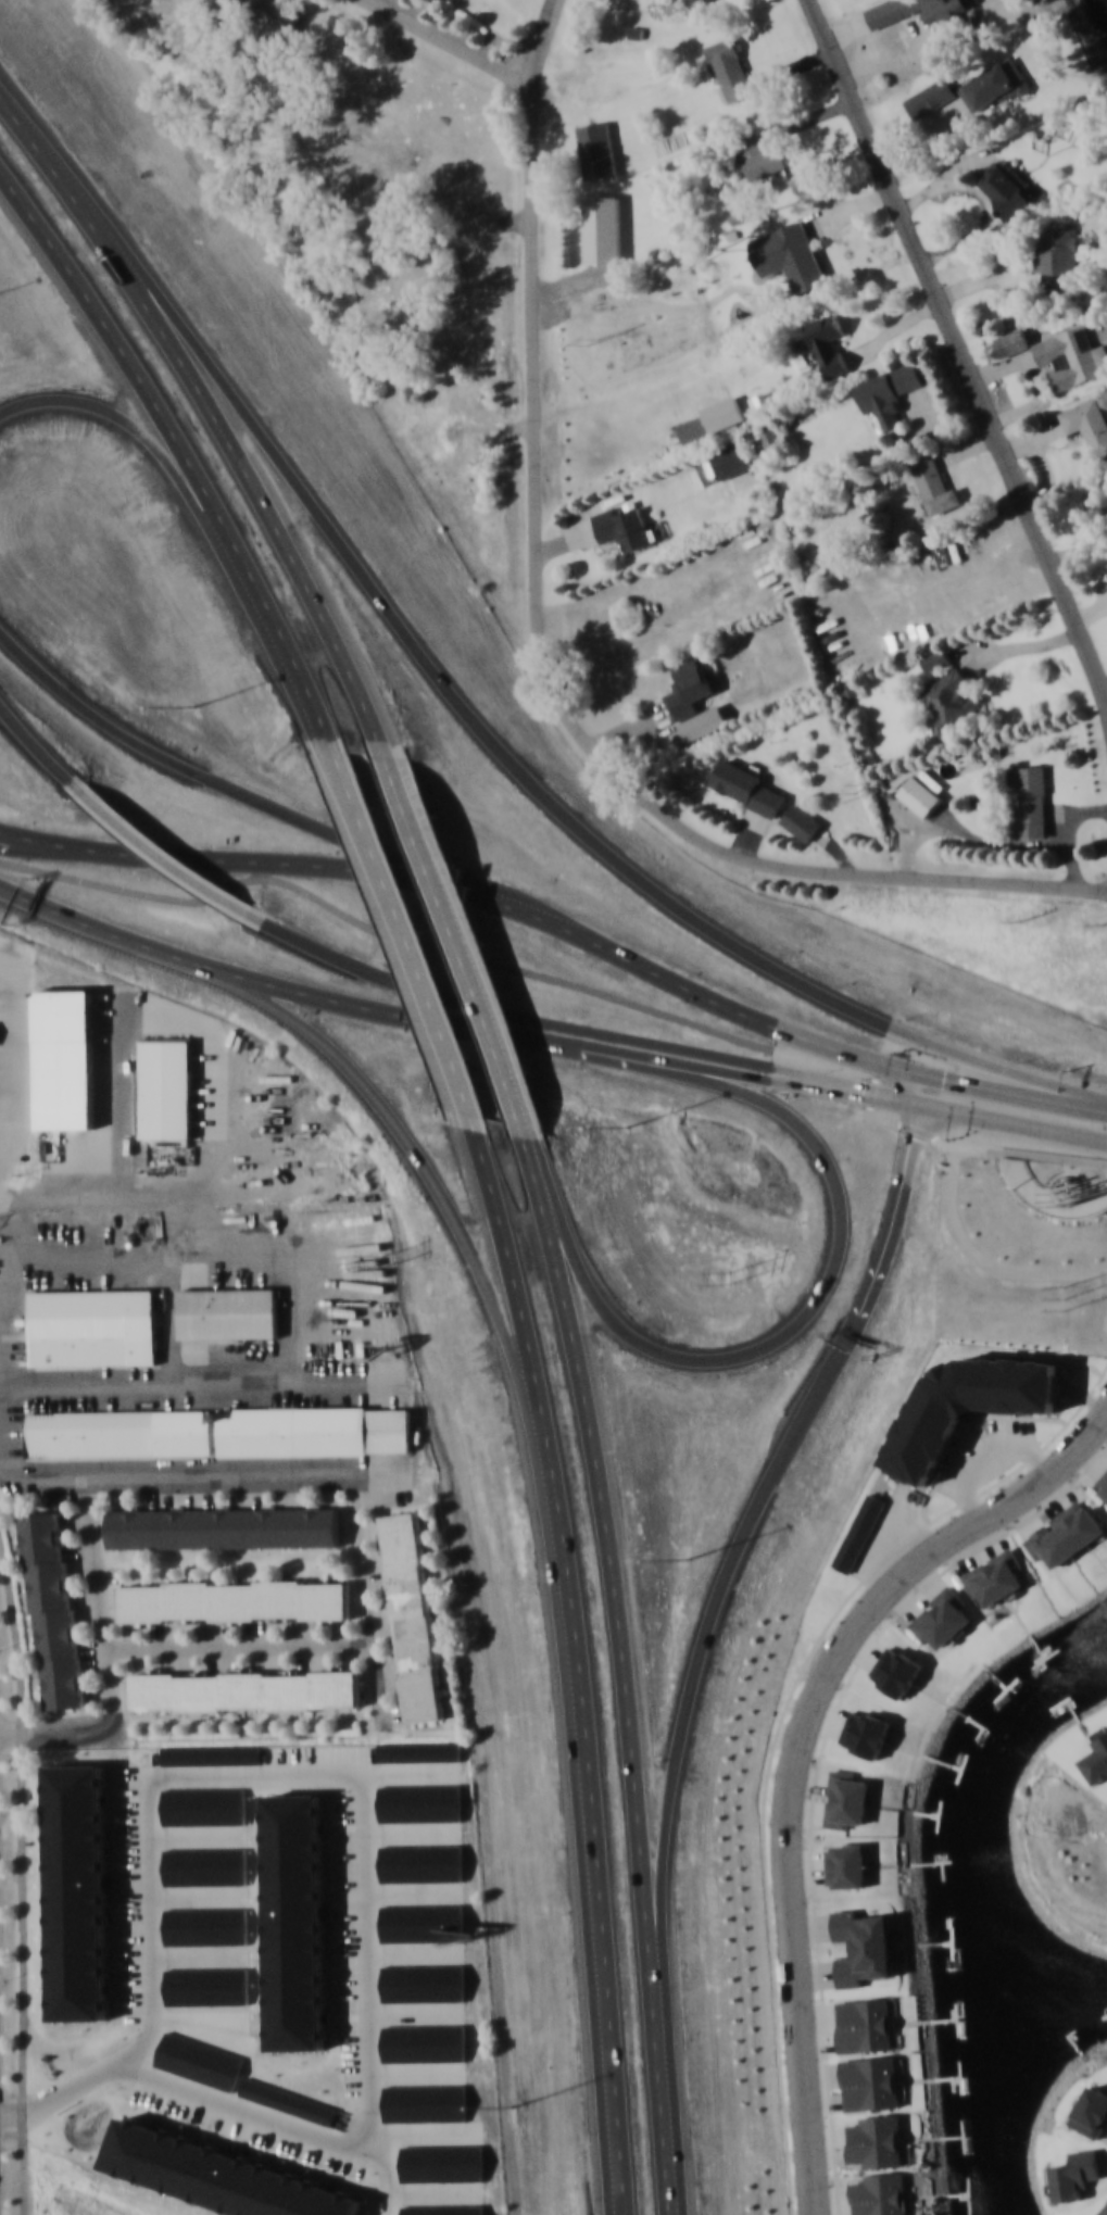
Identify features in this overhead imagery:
building: (682, 0)
building: (695, 2)
building: (916, 10)
building: (277, 15)
road: (445, 43)
building: (729, 68)
building: (996, 84)
building: (929, 97)
road: (23, 124)
building: (597, 149)
building: (752, 155)
building: (1005, 190)
building: (603, 228)
building: (798, 256)
building: (1060, 259)
building: (1016, 339)
power tower: (595, 343)
building: (823, 343)
road: (964, 348)
building: (1068, 356)
building: (888, 392)
building: (1089, 421)
building: (767, 438)
road: (230, 442)
road: (184, 451)
building: (730, 458)
building: (933, 484)
road: (192, 495)
building: (622, 526)
street lamp: (89, 639)
road: (416, 645)
road: (539, 657)
building: (936, 657)
building: (688, 688)
building: (949, 699)
road: (43, 746)
road: (203, 771)
building: (746, 786)
power tower: (855, 793)
building: (920, 795)
building: (1030, 798)
building: (801, 821)
road: (1024, 844)
road: (166, 859)
road: (215, 863)
road: (491, 897)
road: (444, 899)
power tower: (1021, 922)
power tower: (1105, 927)
road: (408, 932)
road: (495, 962)
road: (662, 974)
road: (276, 982)
road: (506, 1015)
road: (667, 1059)
street lamp: (290, 1068)
road: (997, 1070)
road: (939, 1079)
traffic signals: (947, 1081)
building: (165, 1085)
road: (841, 1087)
road: (510, 1090)
traffic signals: (909, 1102)
road: (1007, 1122)
road: (403, 1136)
street lamp: (718, 1178)
road: (952, 1193)
road: (149, 1199)
road: (879, 1243)
road: (890, 1249)
power tower: (387, 1259)
power tower: (729, 1274)
road: (516, 1282)
road: (815, 1300)
power tower: (1068, 1300)
building: (229, 1312)
building: (95, 1326)
building: (315, 1430)
building: (121, 1432)
building: (1102, 1483)
building: (224, 1527)
building: (1065, 1533)
road: (614, 1576)
building: (997, 1576)
building: (235, 1600)
building: (54, 1609)
building: (413, 1615)
building: (942, 1618)
building: (898, 1671)
building: (244, 1689)
road: (690, 1709)
street lamp: (498, 1728)
building: (870, 1734)
road: (802, 1750)
building: (420, 1752)
building: (212, 1755)
building: (1096, 1760)
building: (846, 1798)
building: (422, 1803)
building: (204, 1809)
road: (597, 1832)
road: (367, 1859)
building: (423, 1864)
building: (847, 1865)
building: (205, 1867)
road: (22, 1878)
building: (79, 1899)
building: (423, 1925)
building: (206, 1927)
building: (298, 1929)
building: (863, 1947)
building: (424, 1983)
building: (207, 1988)
building: (865, 2025)
building: (426, 2047)
building: (200, 2063)
road: (76, 2082)
building: (870, 2082)
building: (289, 2103)
building: (426, 2105)
road: (664, 2124)
street lamp: (755, 2131)
building: (876, 2140)
building: (443, 2166)
road: (390, 2175)
building: (221, 2176)
building: (879, 2193)
building: (1103, 2210)
building: (445, 2211)

